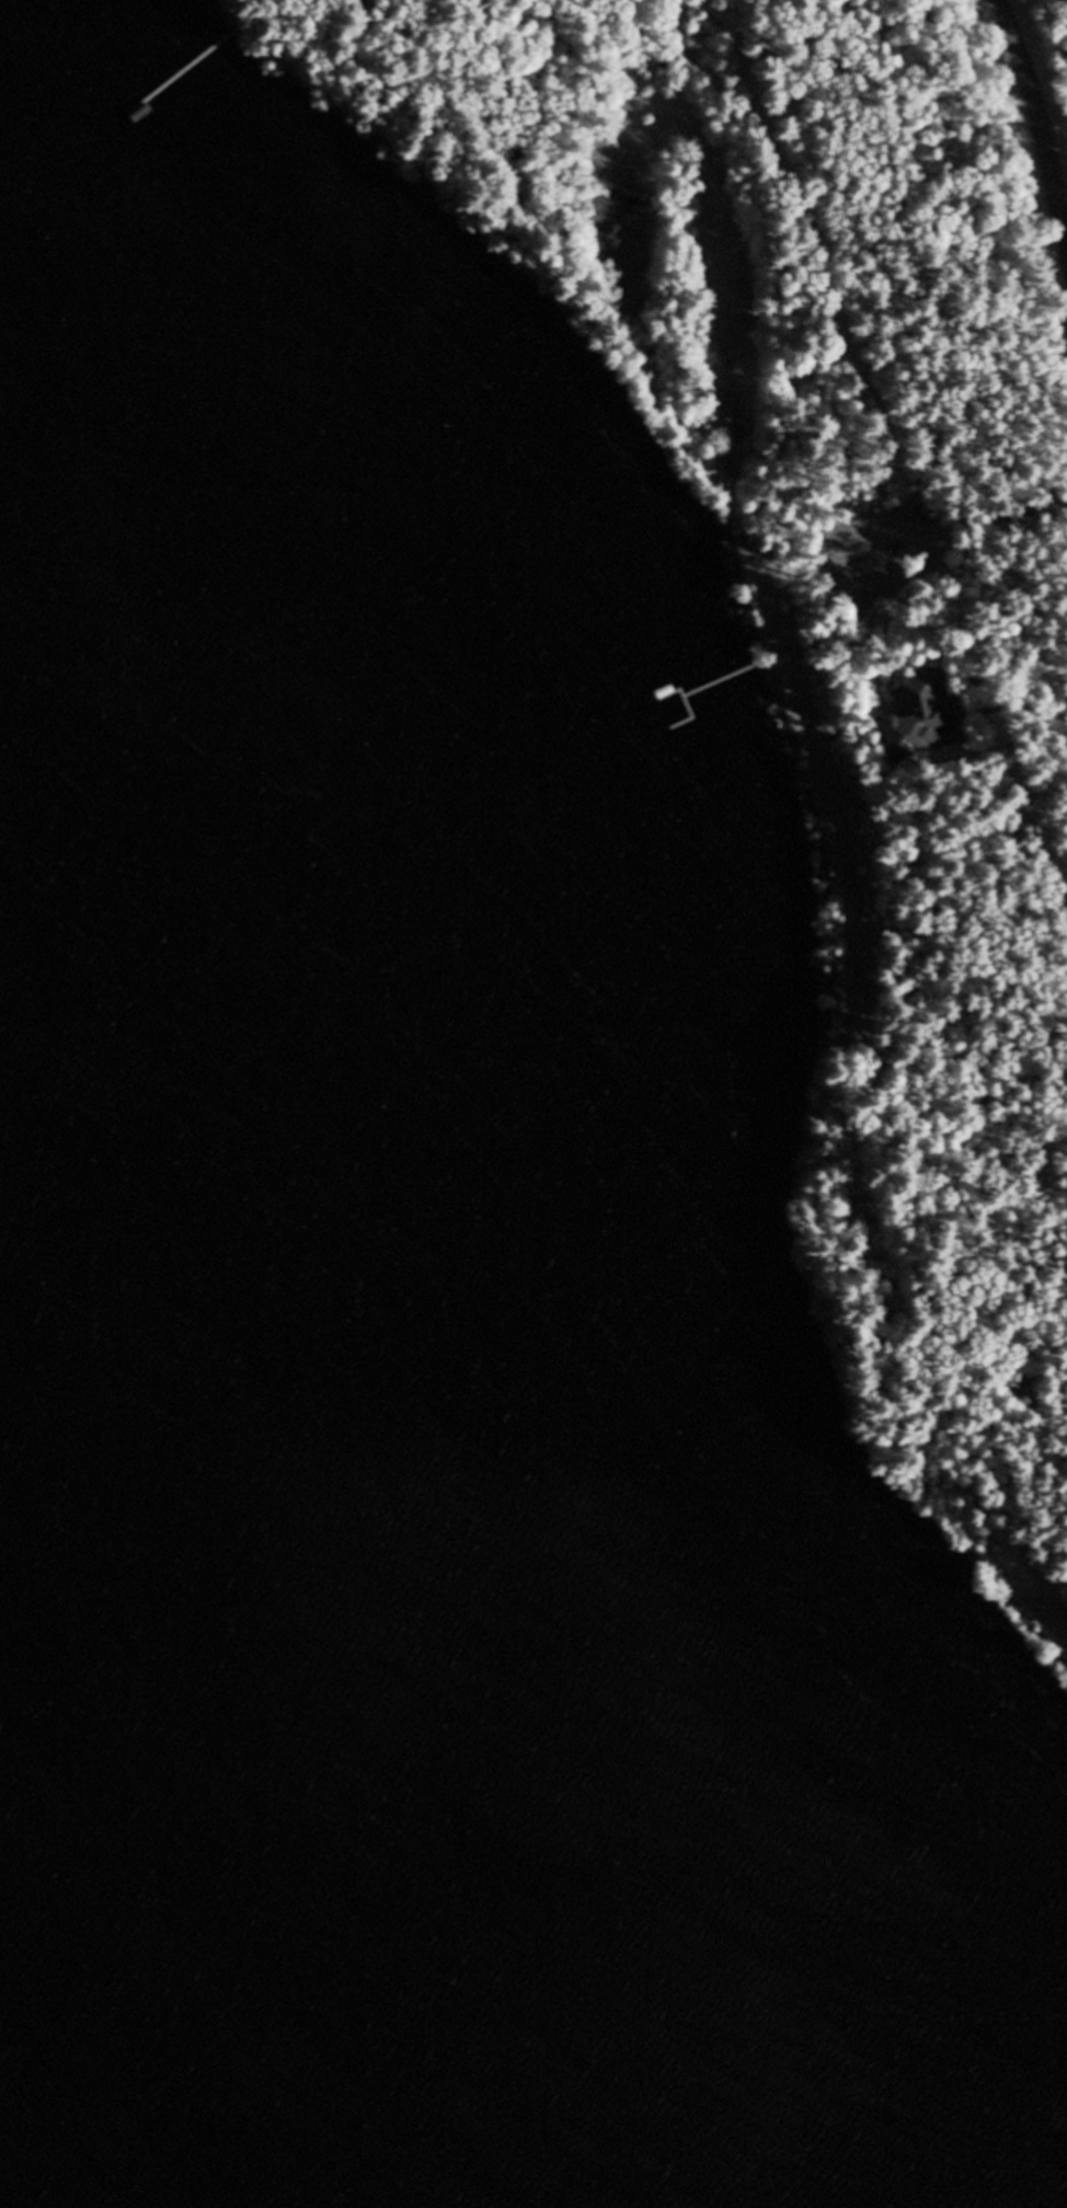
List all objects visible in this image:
road: (1032, 140)
road: (1024, 692)
building: (920, 726)

